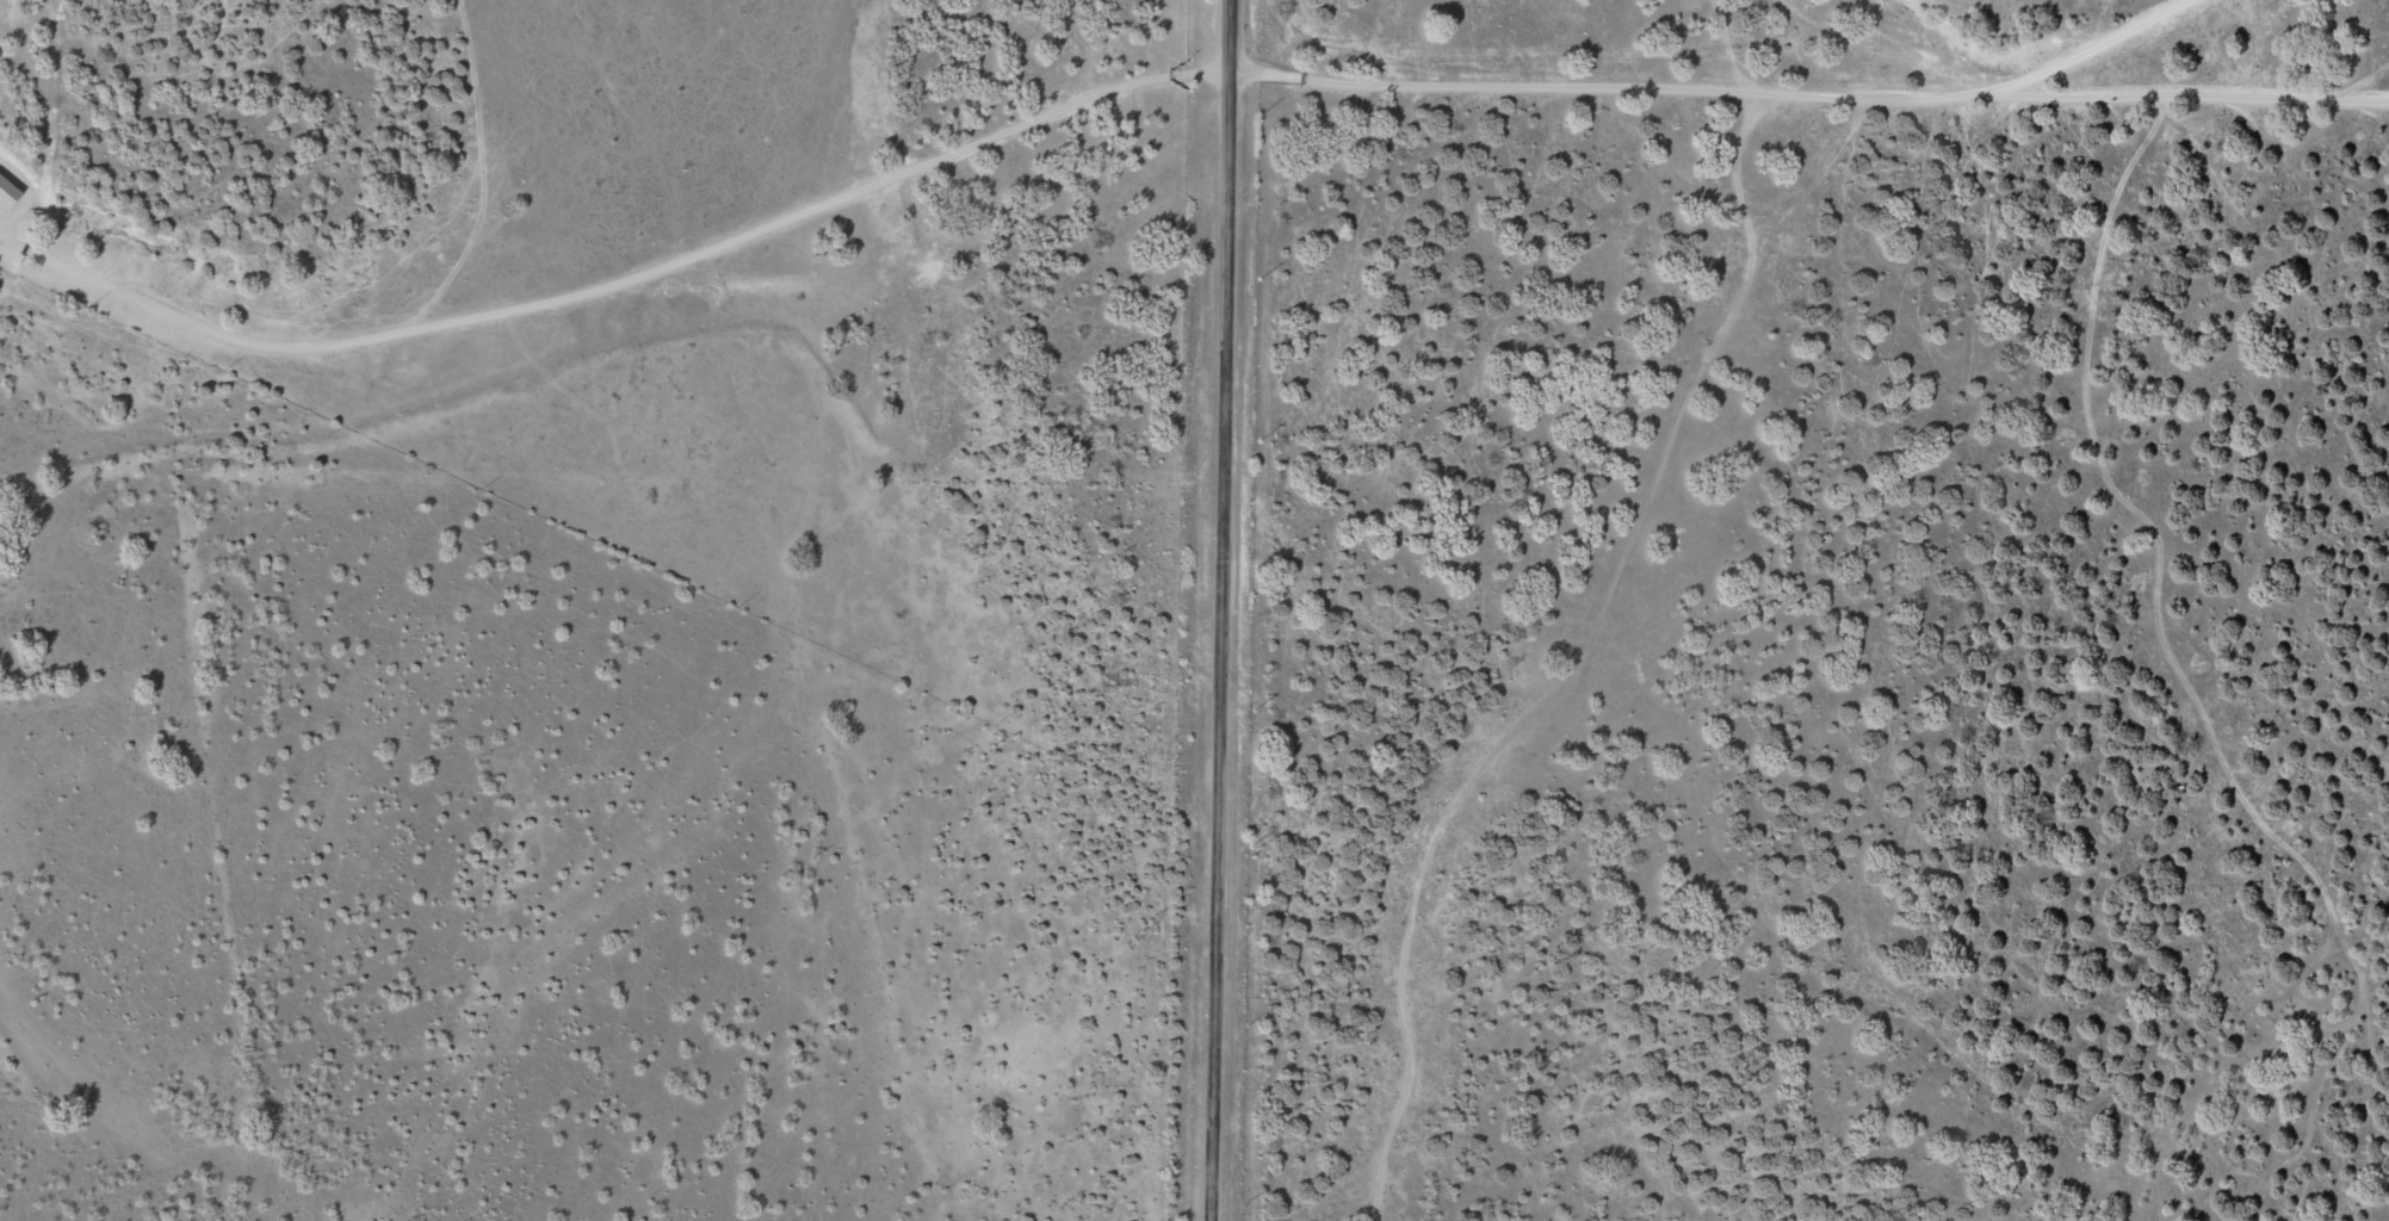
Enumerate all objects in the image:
road: (1708, 88)
road: (2181, 98)
road: (607, 496)
road: (1223, 610)

